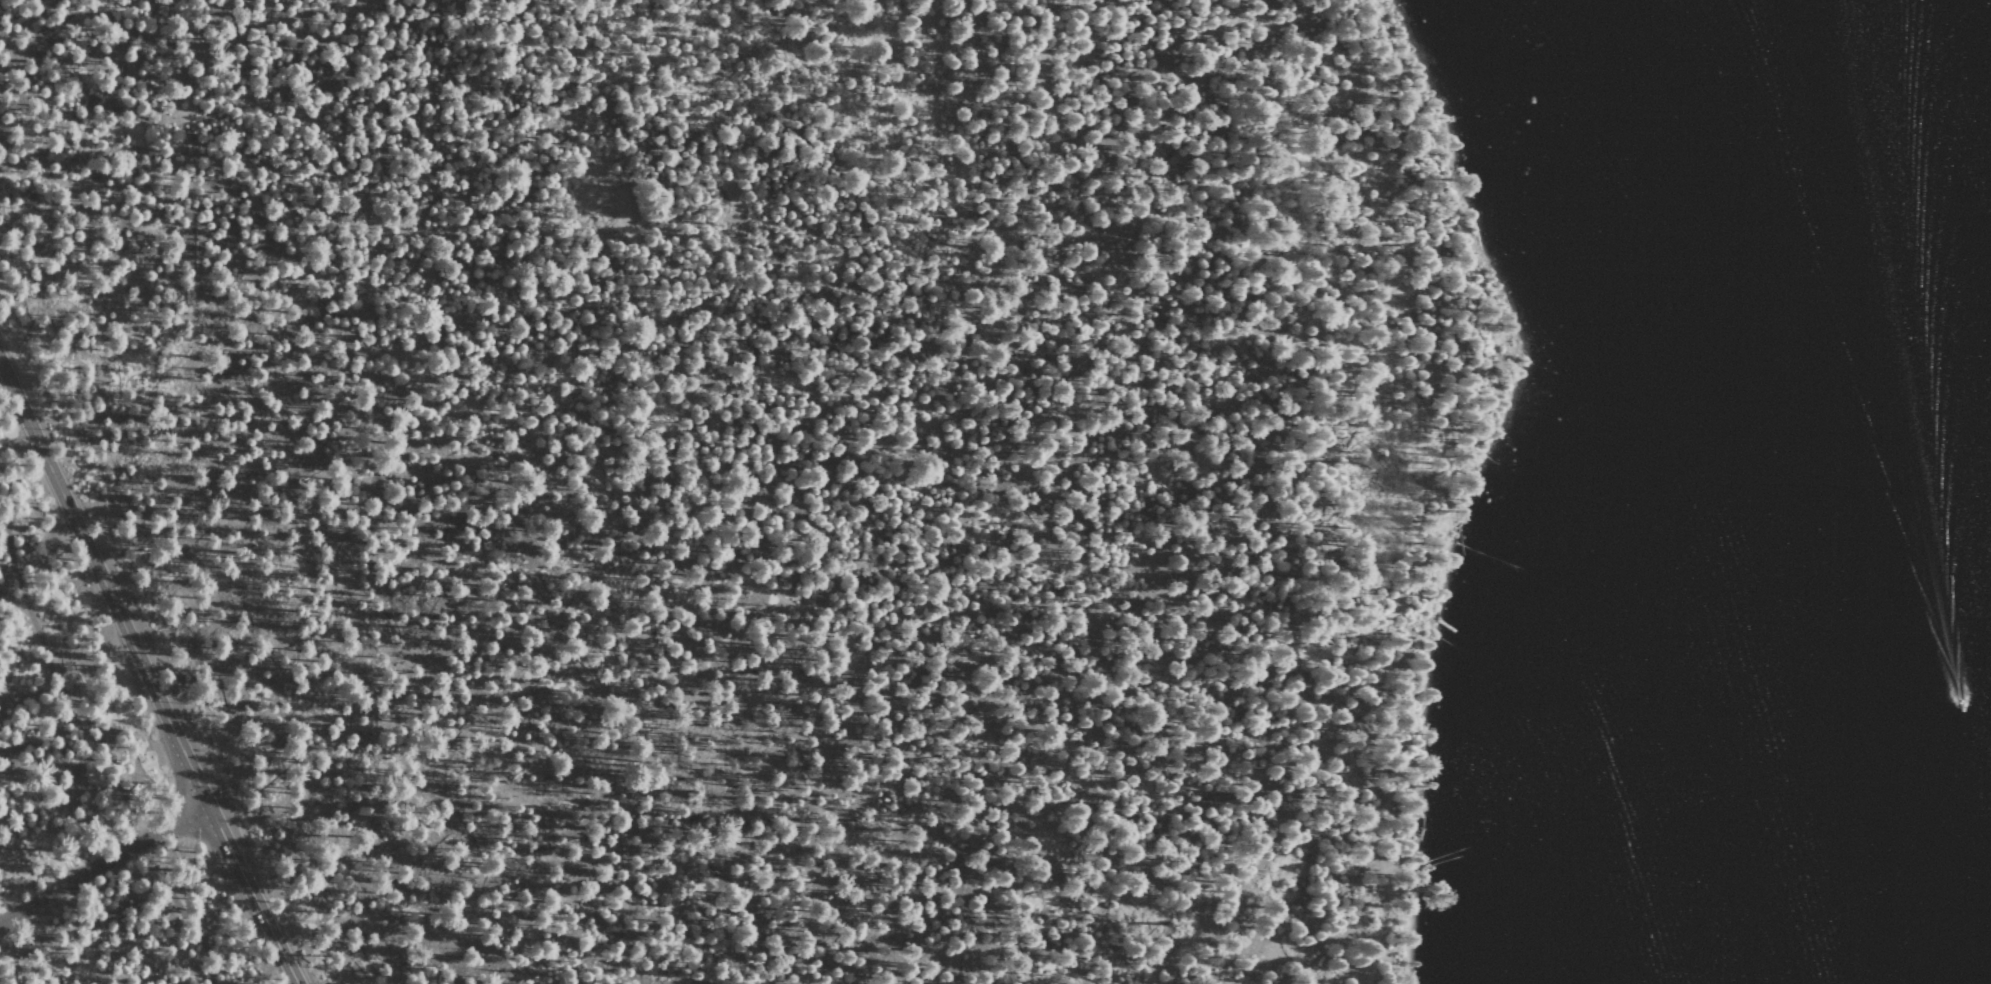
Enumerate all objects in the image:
road: (122, 62)
road: (577, 462)
road: (1442, 479)
road: (91, 557)
road: (99, 749)
road: (105, 864)
road: (238, 867)

